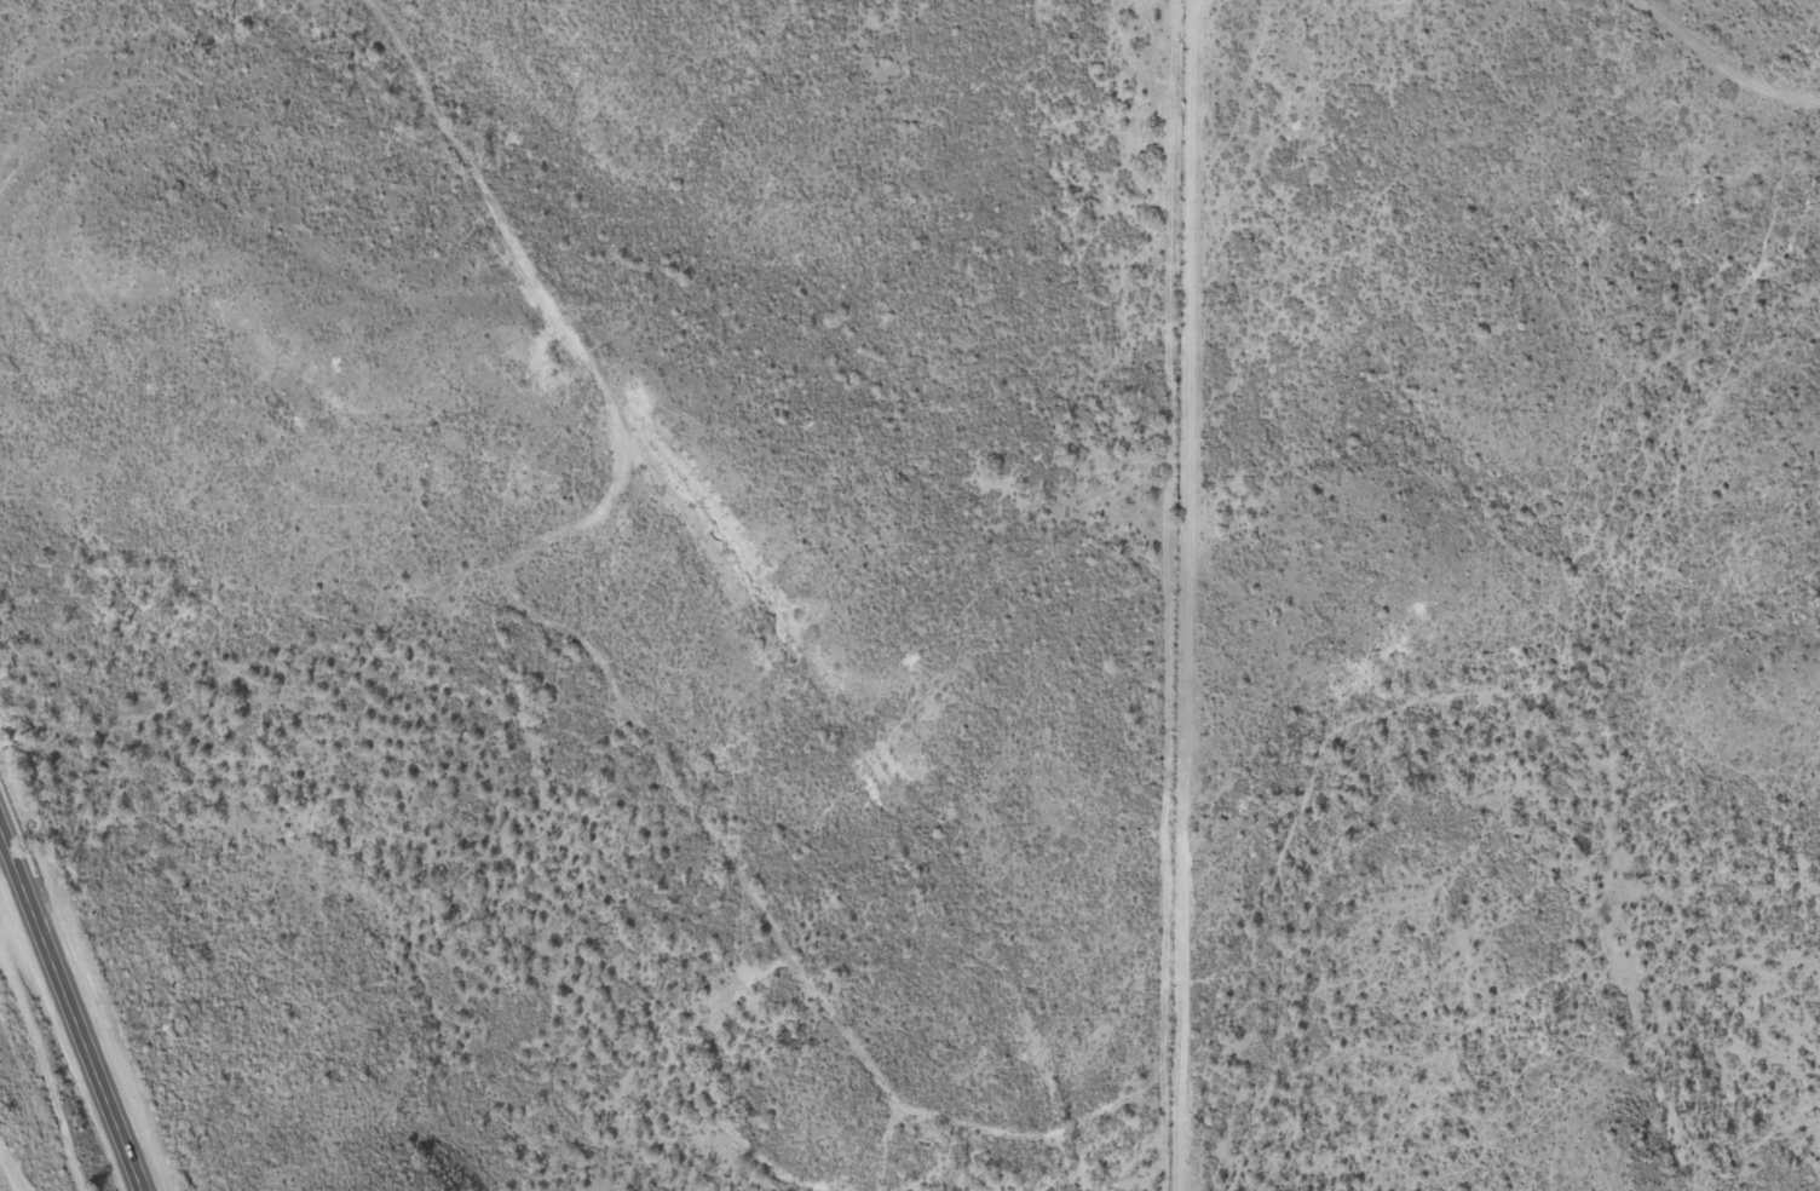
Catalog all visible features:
road: (1721, 62)
road: (761, 579)
road: (73, 1001)

